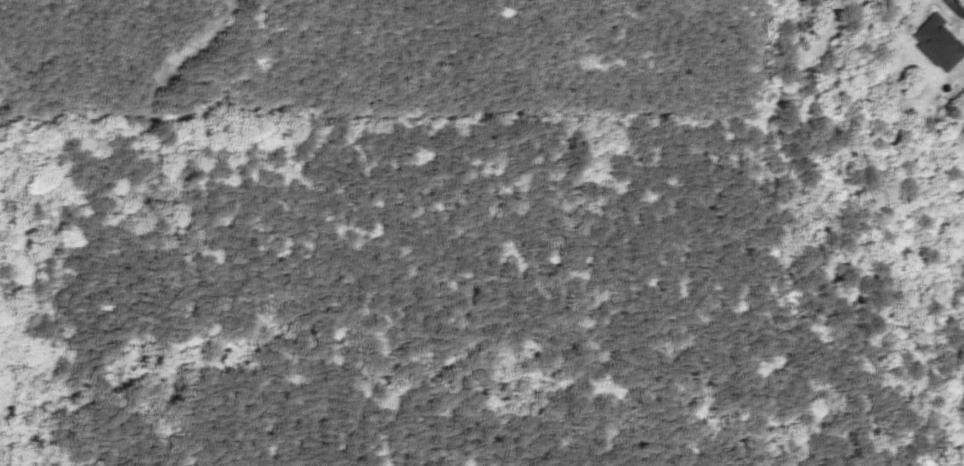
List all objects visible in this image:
building: (933, 42)

